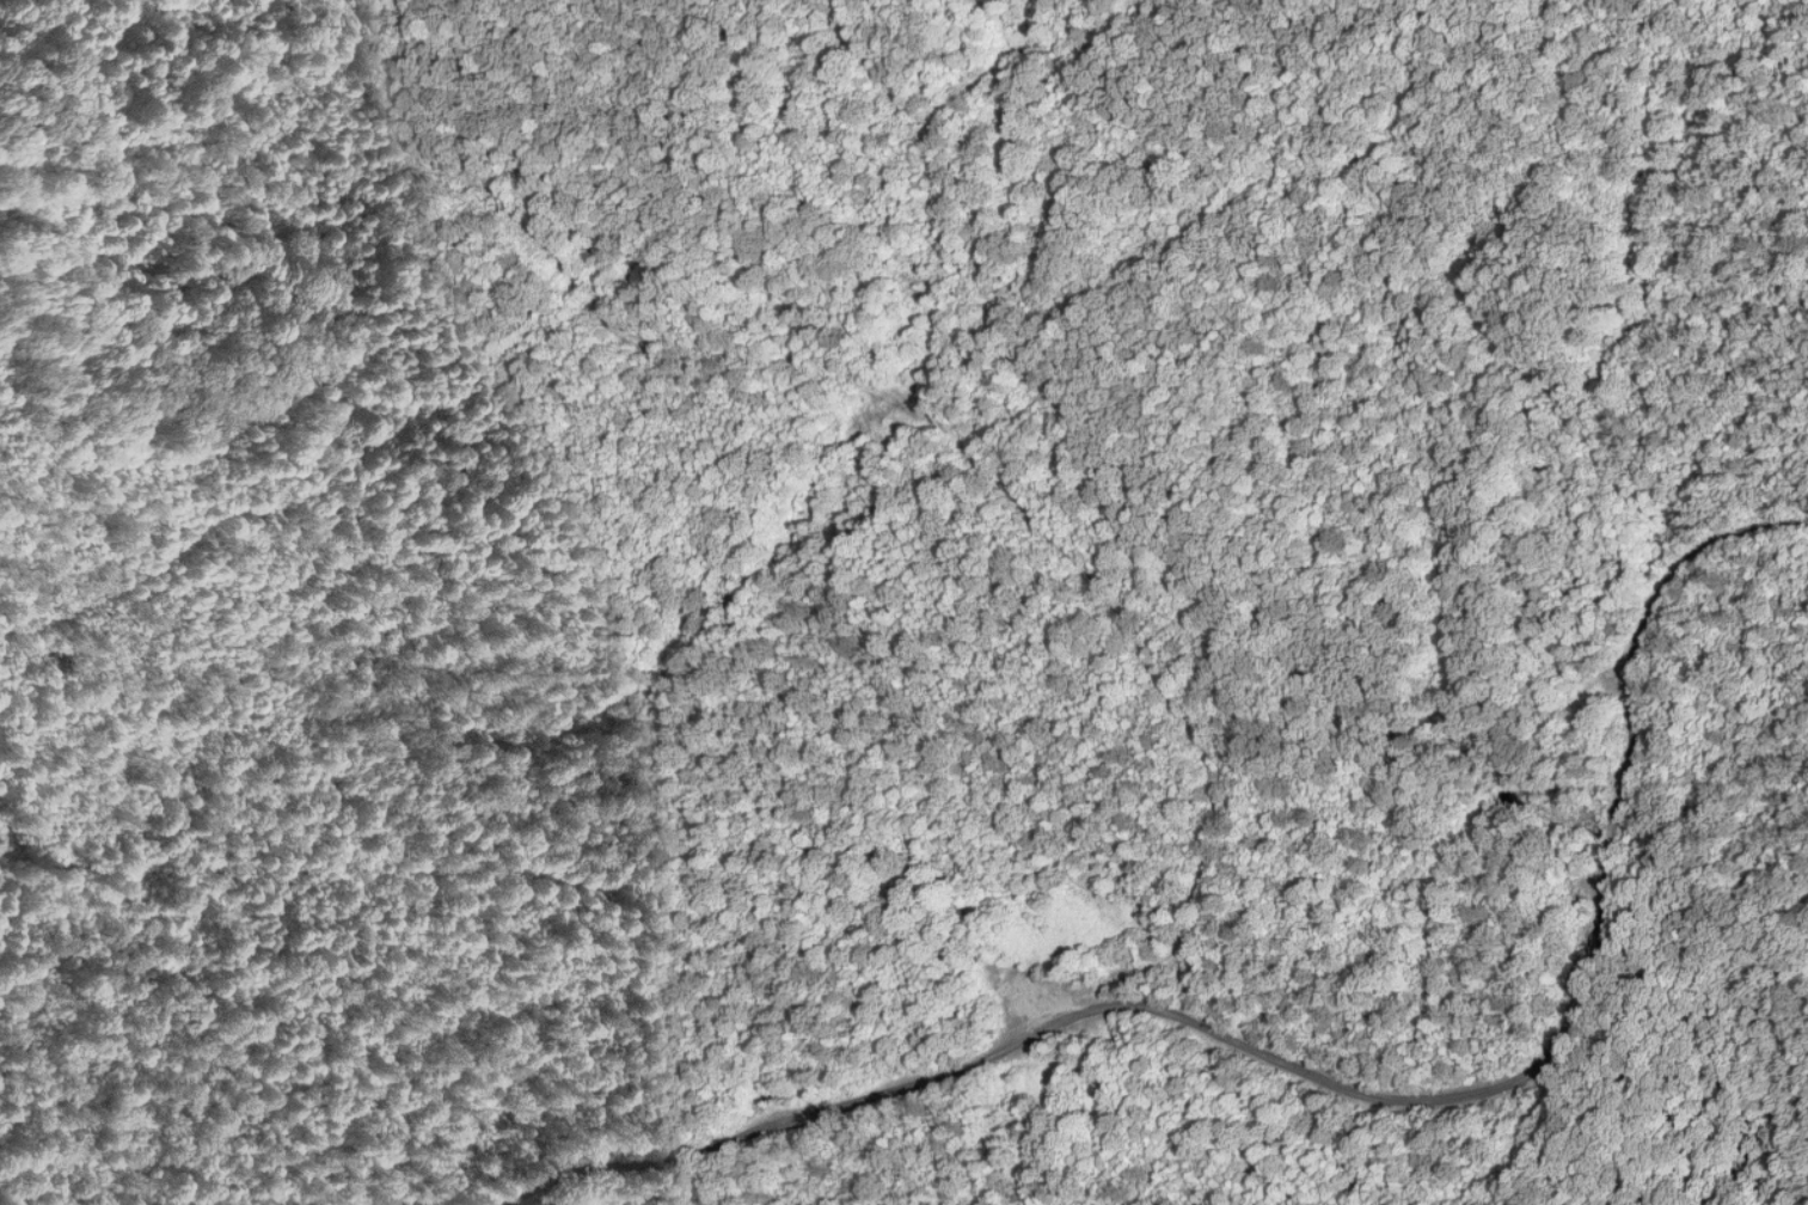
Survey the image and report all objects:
road: (1337, 1087)

